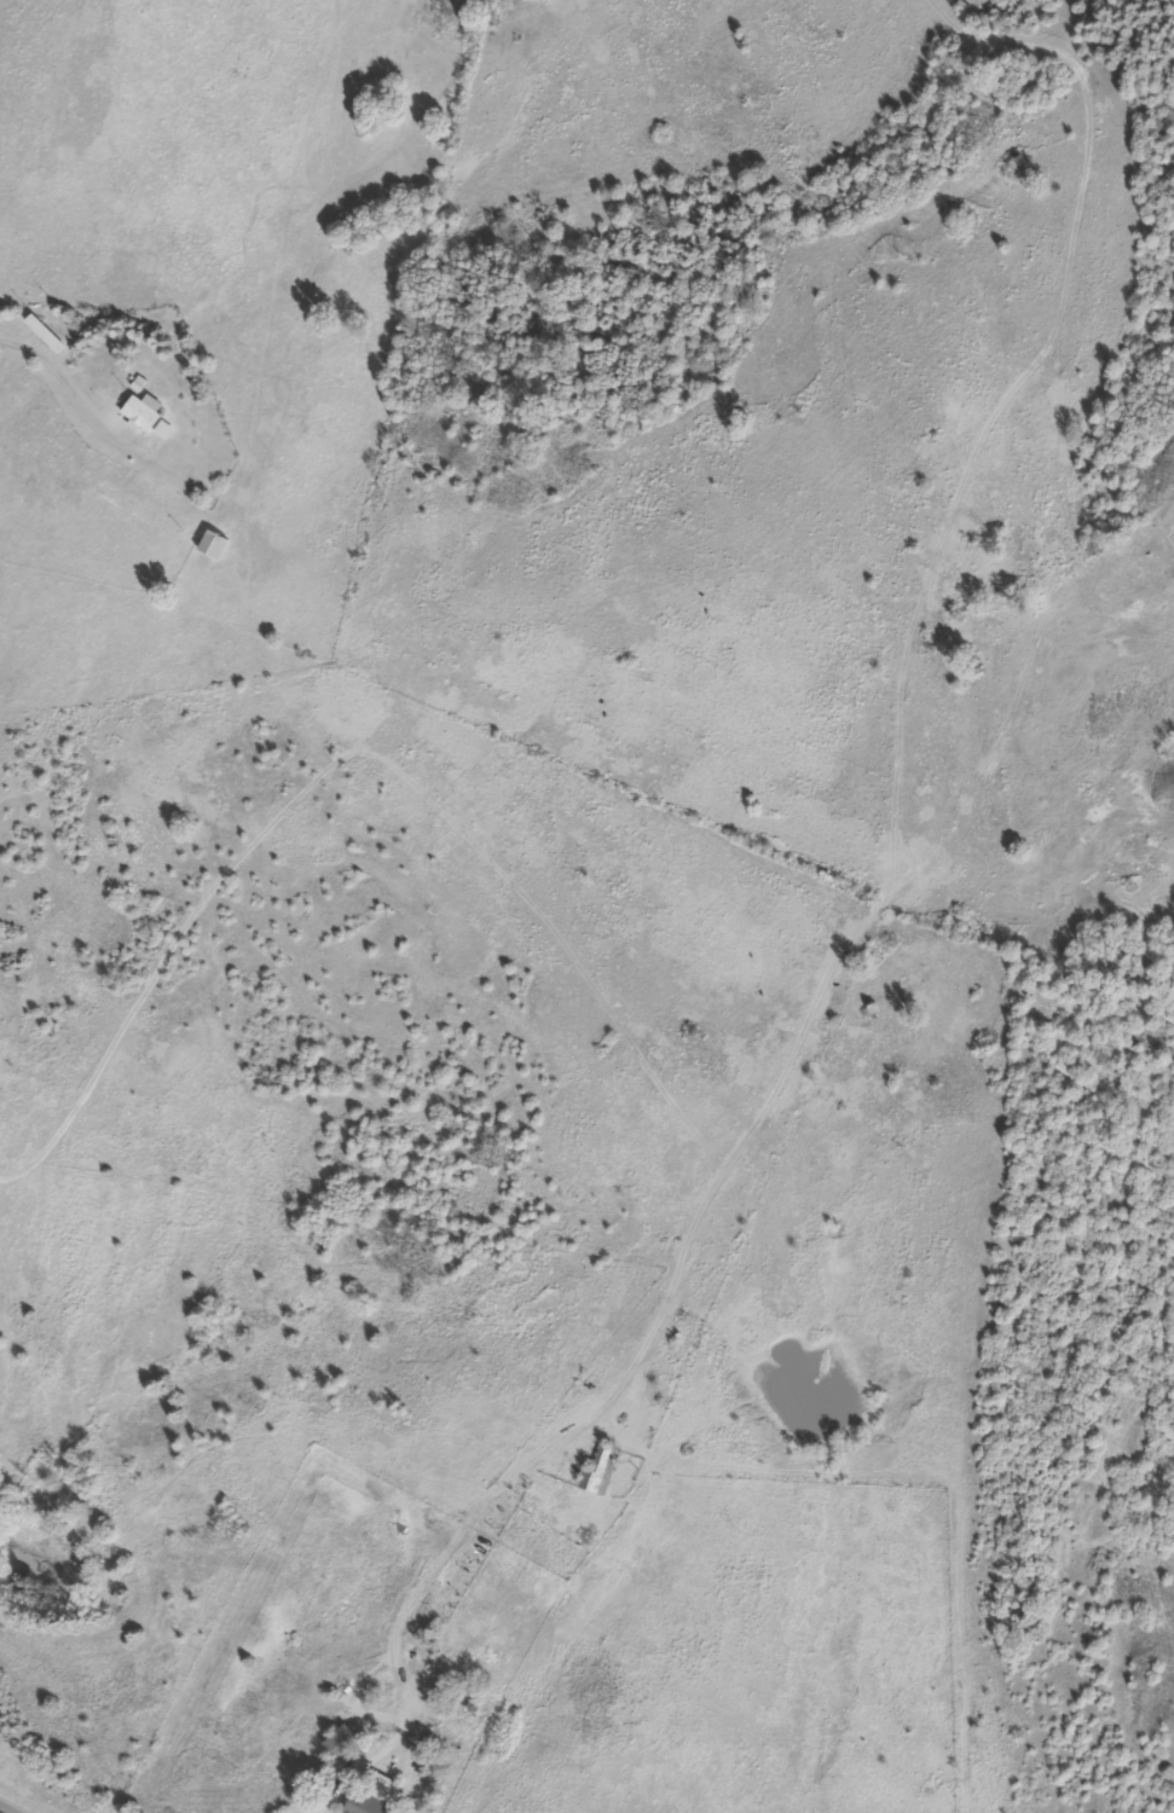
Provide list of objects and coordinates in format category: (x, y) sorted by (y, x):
building: (39, 334)
building: (139, 416)
building: (597, 1472)
building: (335, 1742)
building: (365, 1796)
road: (1, 1812)

